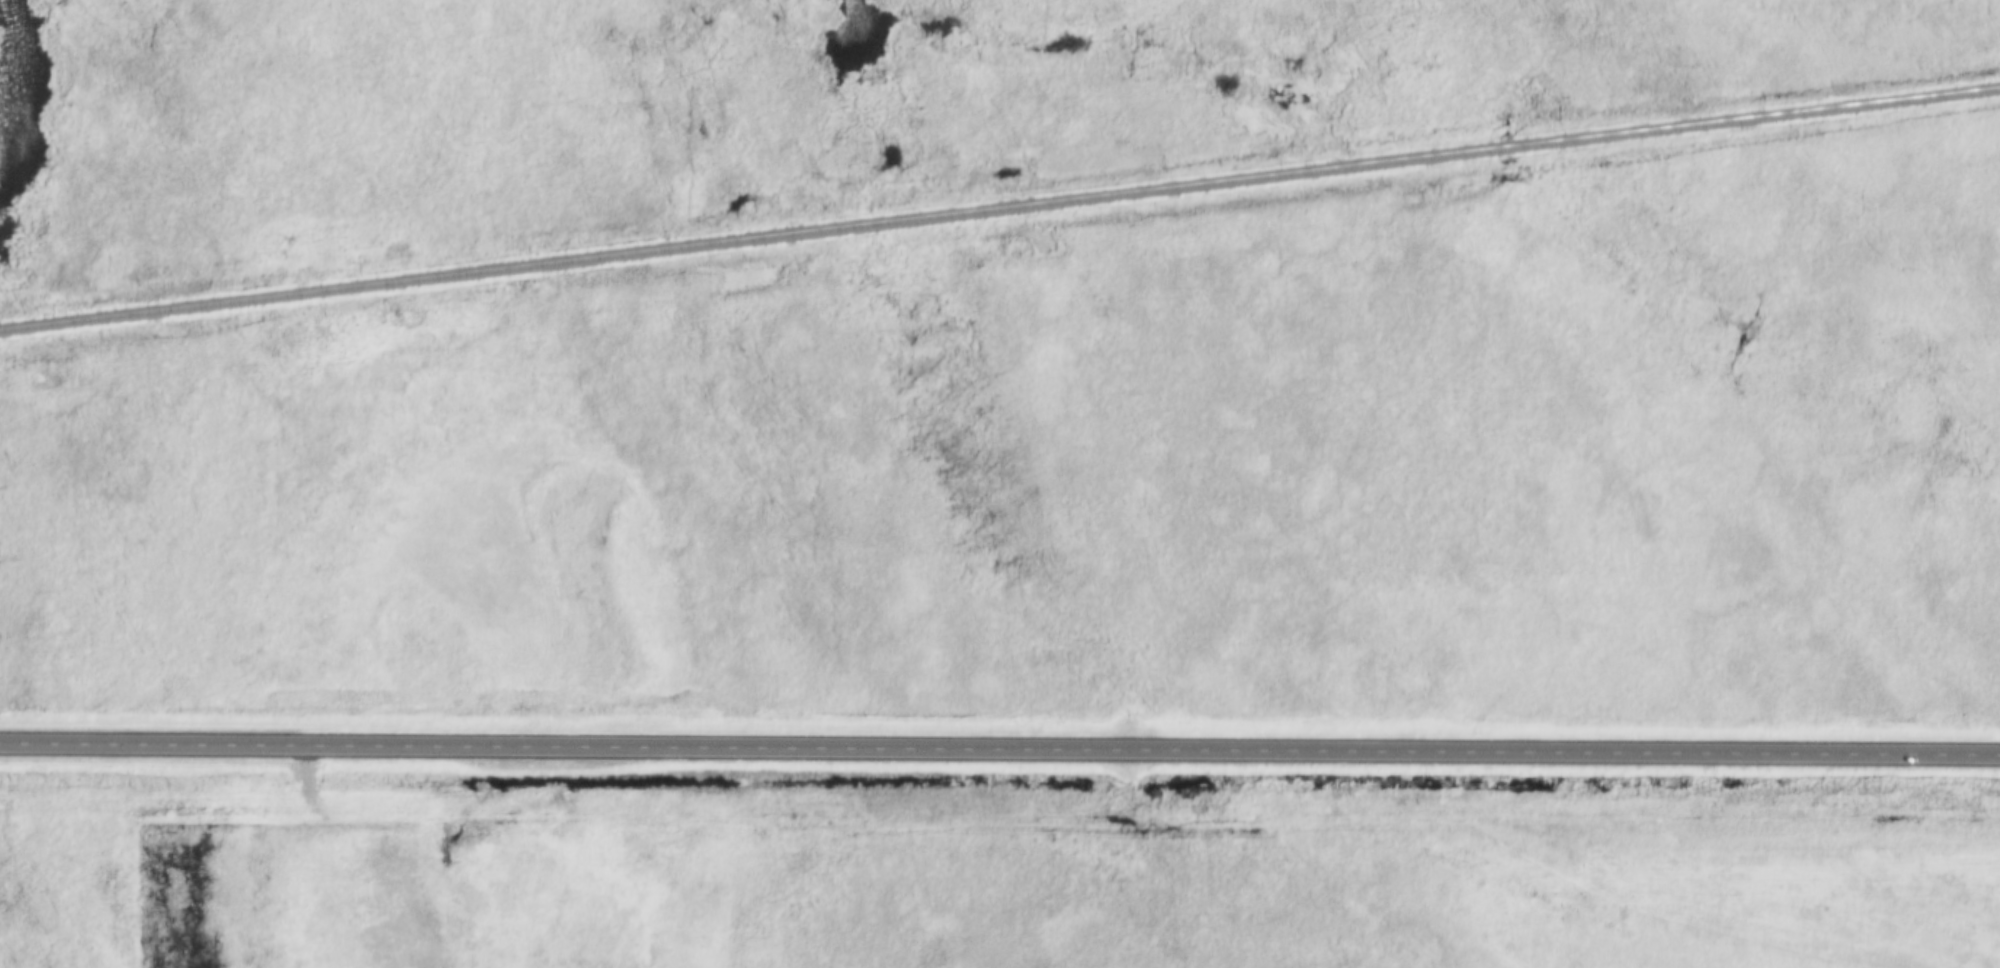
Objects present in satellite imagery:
railway: (999, 207)
road: (1000, 749)

